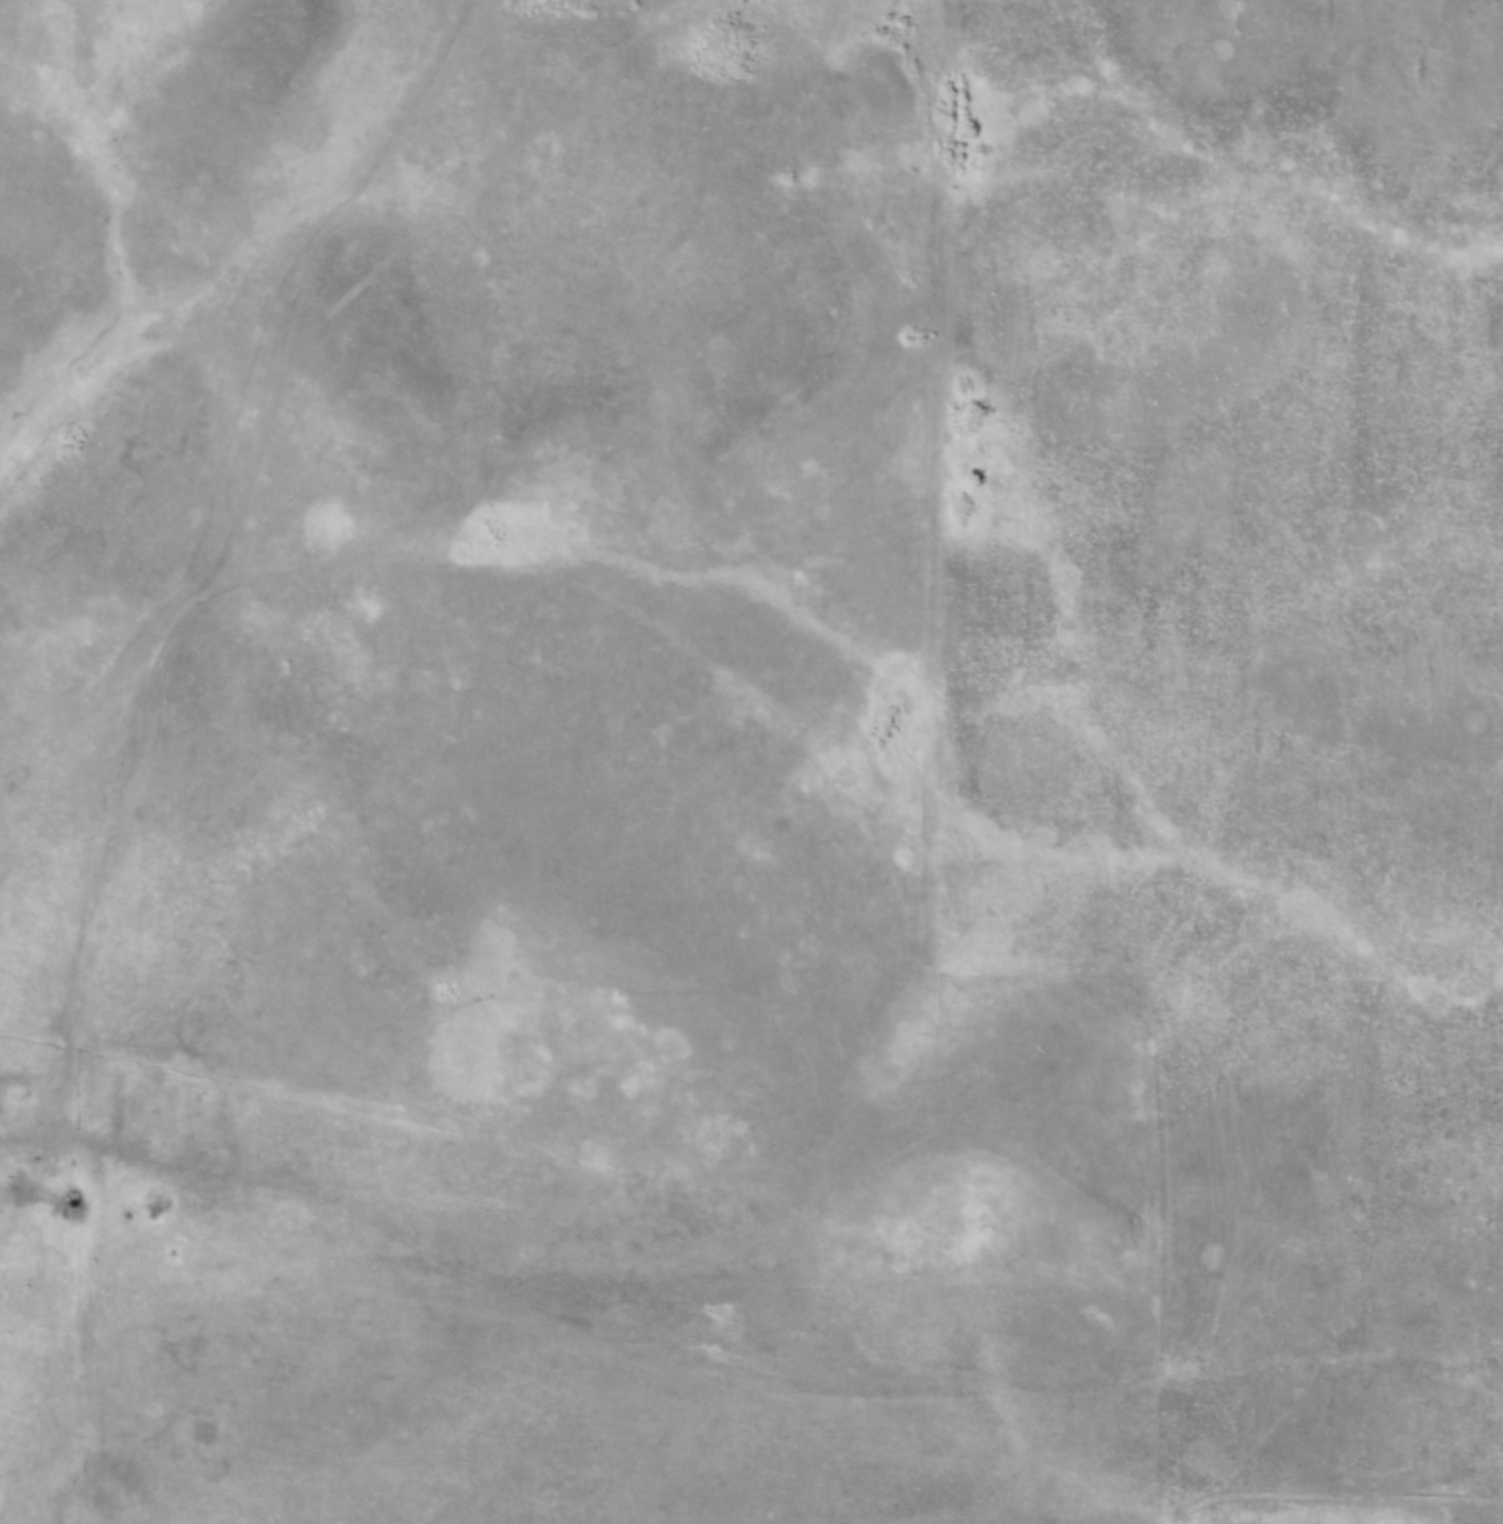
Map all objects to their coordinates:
road: (36, 1138)
road: (180, 1166)
road: (99, 1329)

